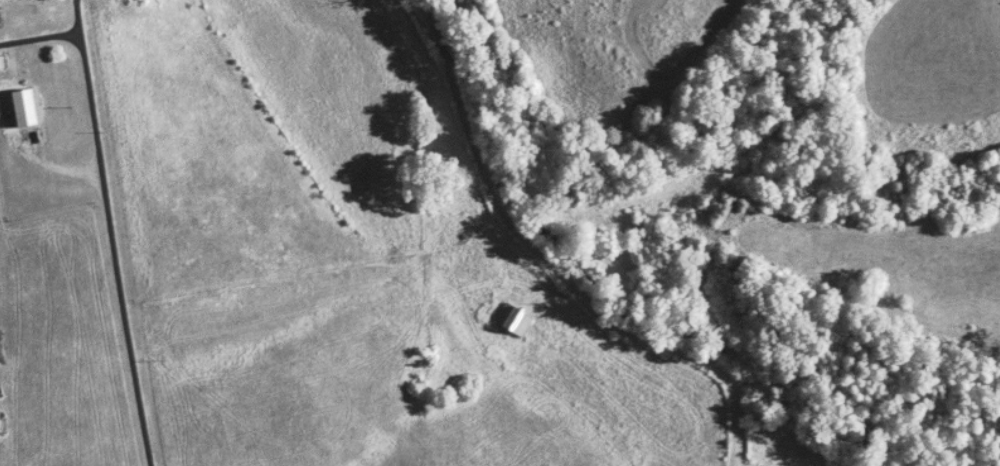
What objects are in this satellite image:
road: (77, 19)
road: (102, 214)
road: (553, 268)
road: (310, 299)

